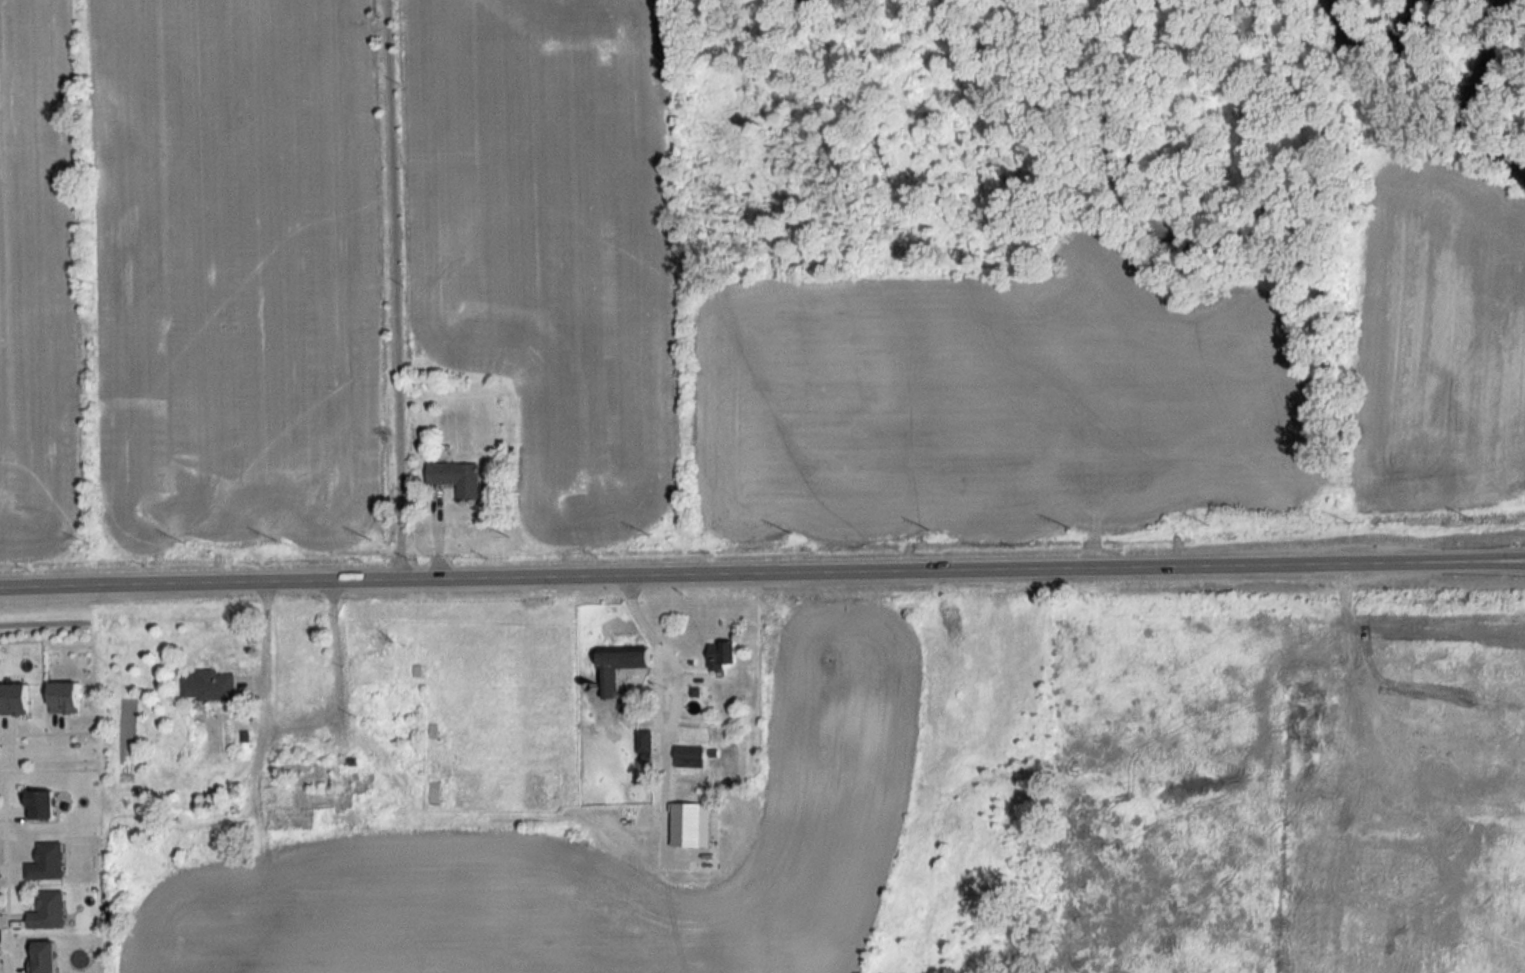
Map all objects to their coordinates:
river: (1373, 66)
river: (1473, 100)
crop: (549, 241)
crop: (232, 269)
crop: (36, 283)
road: (389, 290)
building: (457, 479)
power tower: (1469, 517)
power tower: (1345, 520)
power tower: (1206, 523)
power tower: (1065, 526)
power tower: (925, 528)
power tower: (786, 530)
power tower: (645, 532)
power tower: (504, 535)
power tower: (366, 536)
power tower: (273, 540)
power tower: (180, 543)
power tower: (87, 544)
road: (960, 571)
road: (197, 588)
building: (723, 655)
building: (609, 682)
road: (655, 683)
building: (208, 686)
building: (433, 731)
building: (643, 742)
road: (46, 758)
building: (41, 804)
crop: (597, 861)
building: (48, 911)
building: (44, 957)

